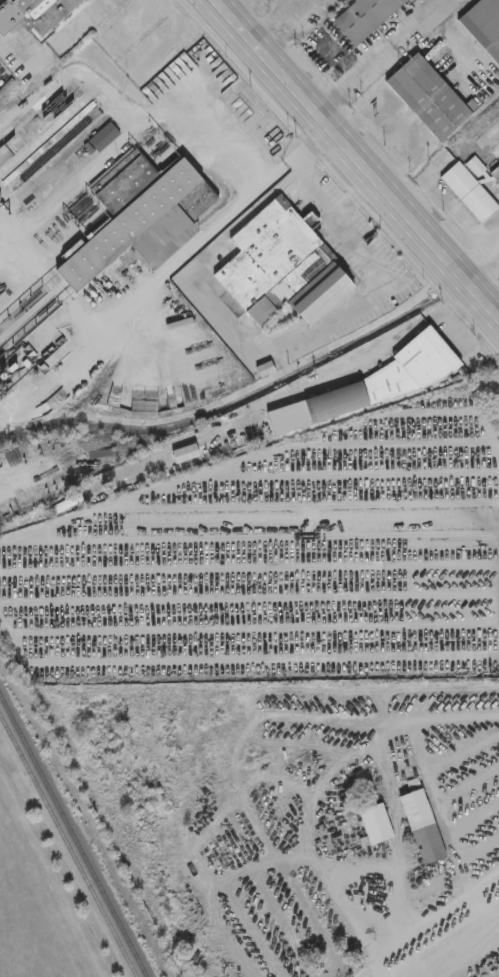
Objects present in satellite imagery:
road: (221, 2)
building: (36, 15)
road: (267, 17)
building: (363, 18)
building: (483, 27)
road: (54, 43)
road: (371, 54)
building: (427, 98)
road: (141, 124)
building: (104, 138)
road: (308, 145)
road: (355, 160)
road: (286, 165)
building: (495, 174)
building: (468, 193)
road: (327, 206)
road: (444, 207)
building: (141, 215)
road: (478, 256)
building: (273, 262)
road: (318, 326)
road: (385, 344)
building: (387, 379)
building: (55, 401)
road: (303, 438)
road: (256, 544)
road: (232, 676)
road: (219, 715)
road: (452, 717)
road: (436, 809)
building: (374, 825)
building: (421, 827)
railway: (73, 836)
railway: (68, 845)
road: (396, 853)
road: (482, 883)
road: (435, 910)
road: (468, 959)
road: (365, 972)

